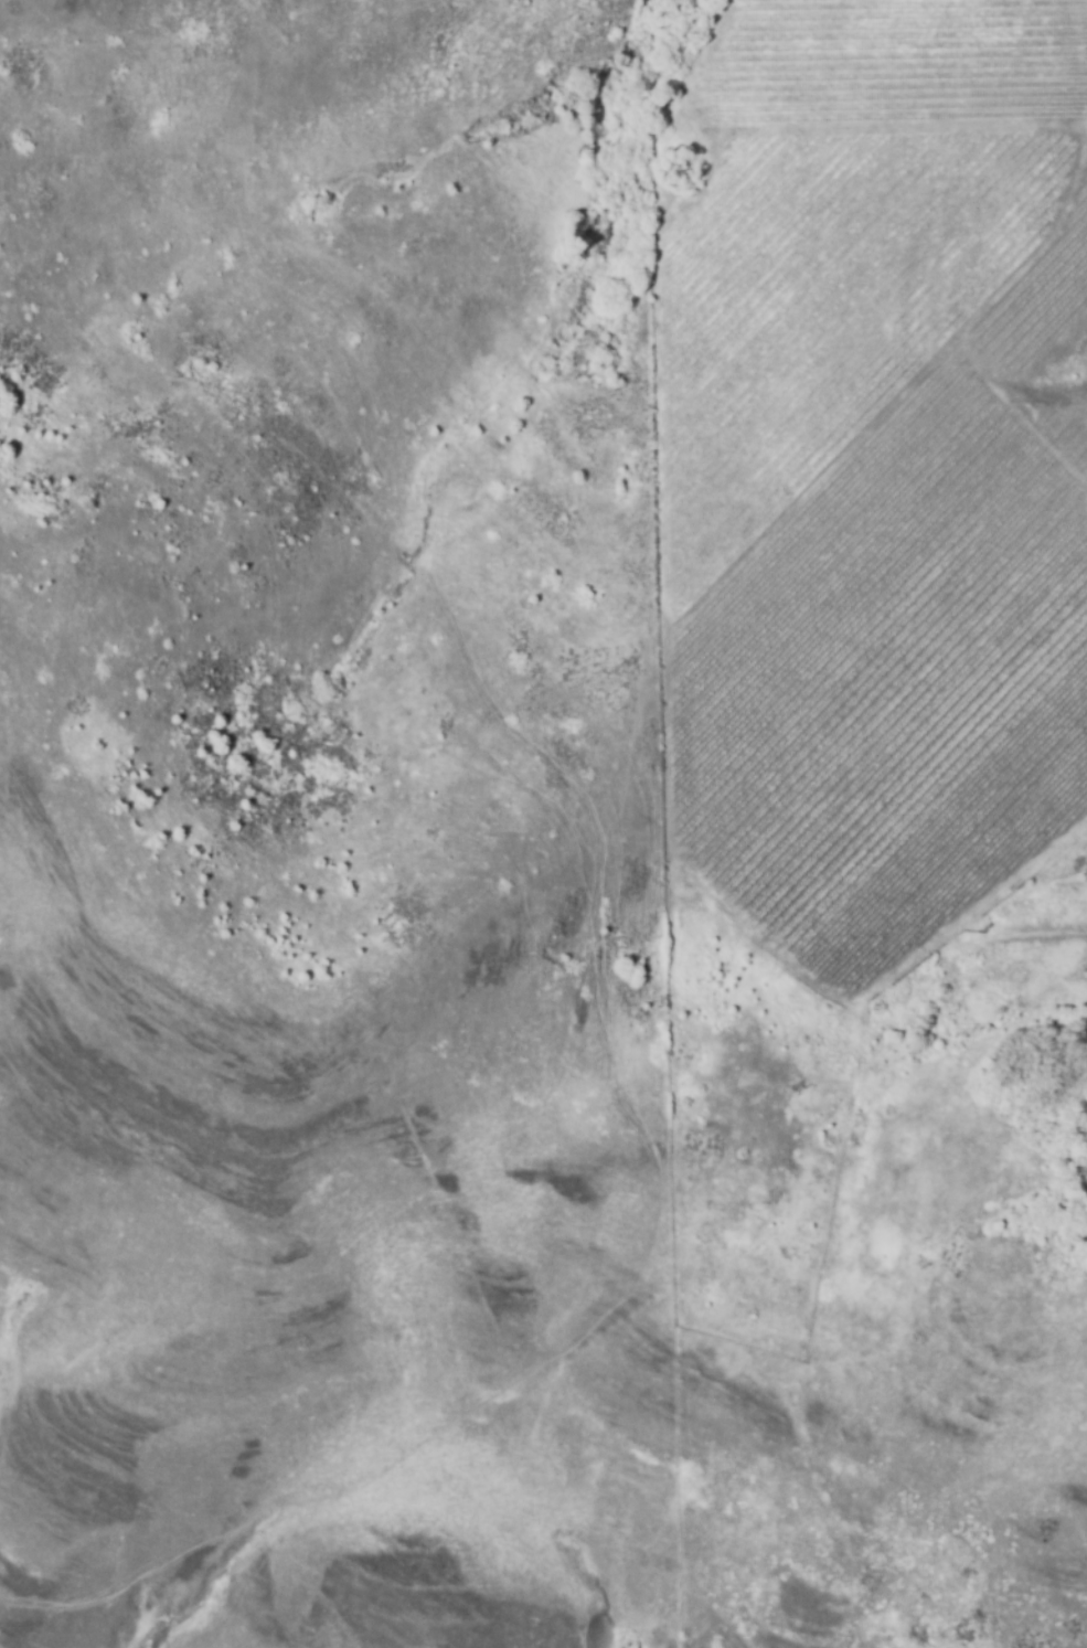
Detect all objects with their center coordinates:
crop: (876, 471)

